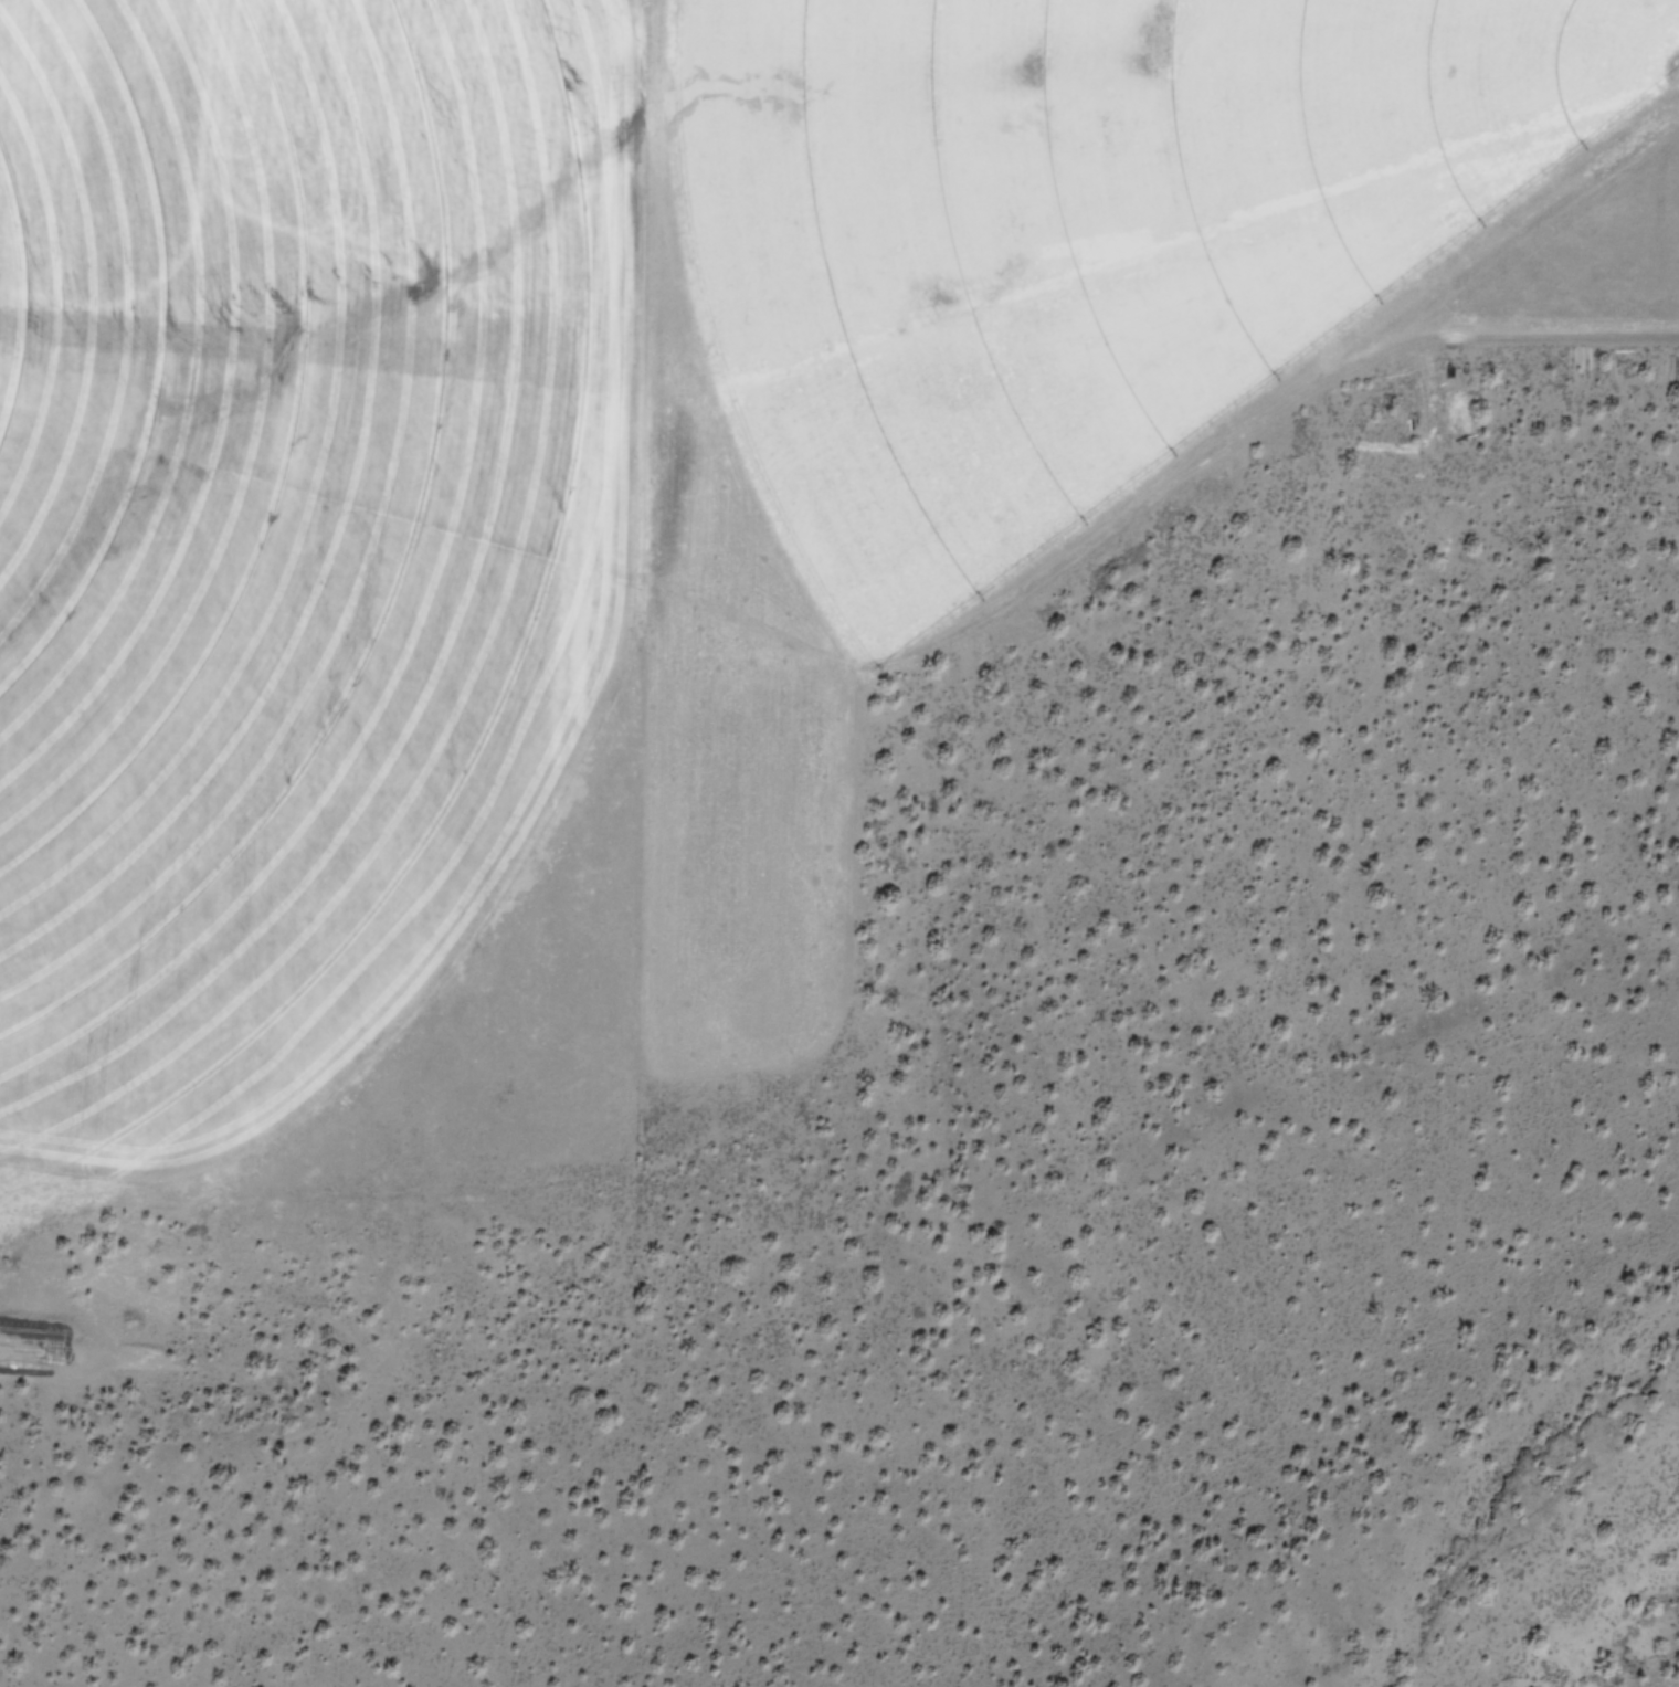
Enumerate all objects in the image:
crop: (635, 496)

